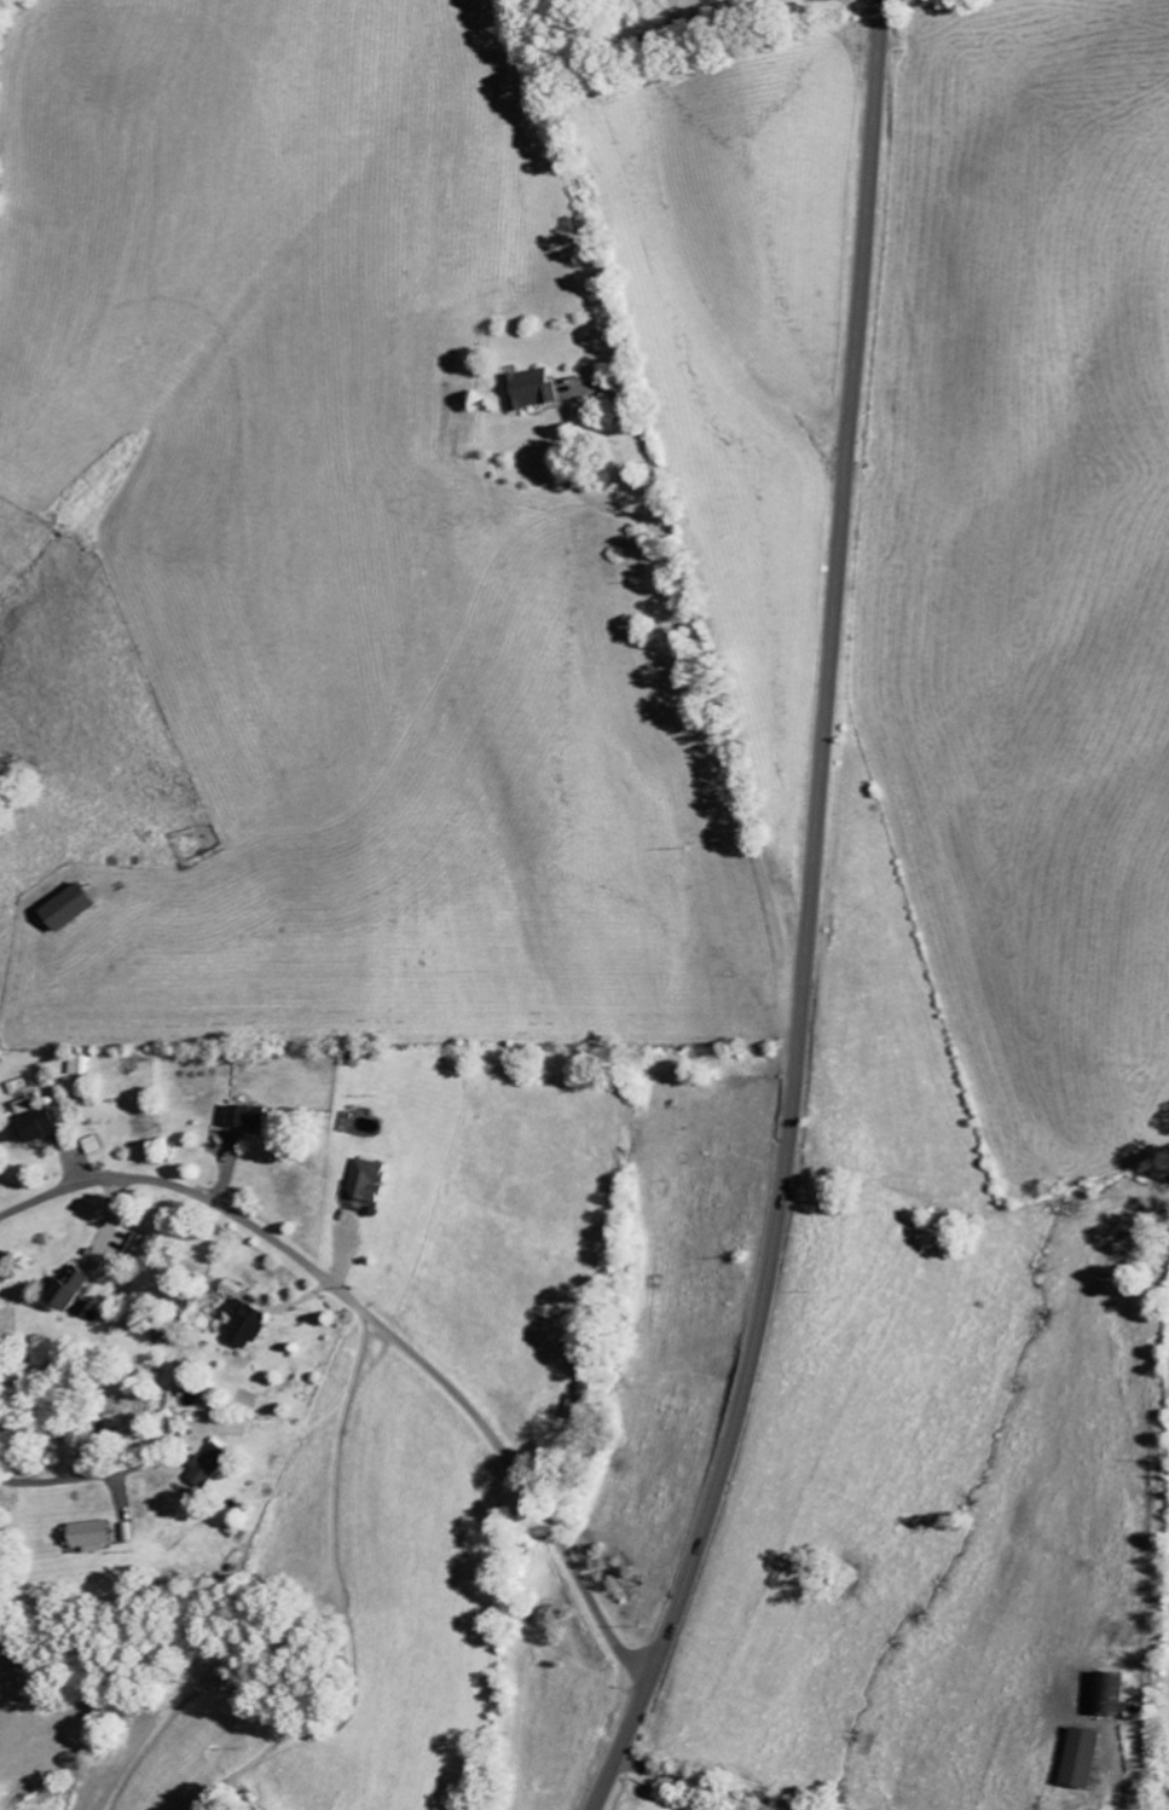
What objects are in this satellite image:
building: (529, 389)
building: (64, 908)
road: (810, 919)
building: (244, 1118)
building: (29, 1127)
building: (364, 1181)
building: (135, 1248)
building: (70, 1291)
building: (244, 1325)
road: (384, 1331)
building: (117, 1421)
building: (209, 1465)
building: (92, 1537)
building: (1105, 1695)
building: (1127, 1710)
building: (1078, 1759)
road: (725, 1783)

